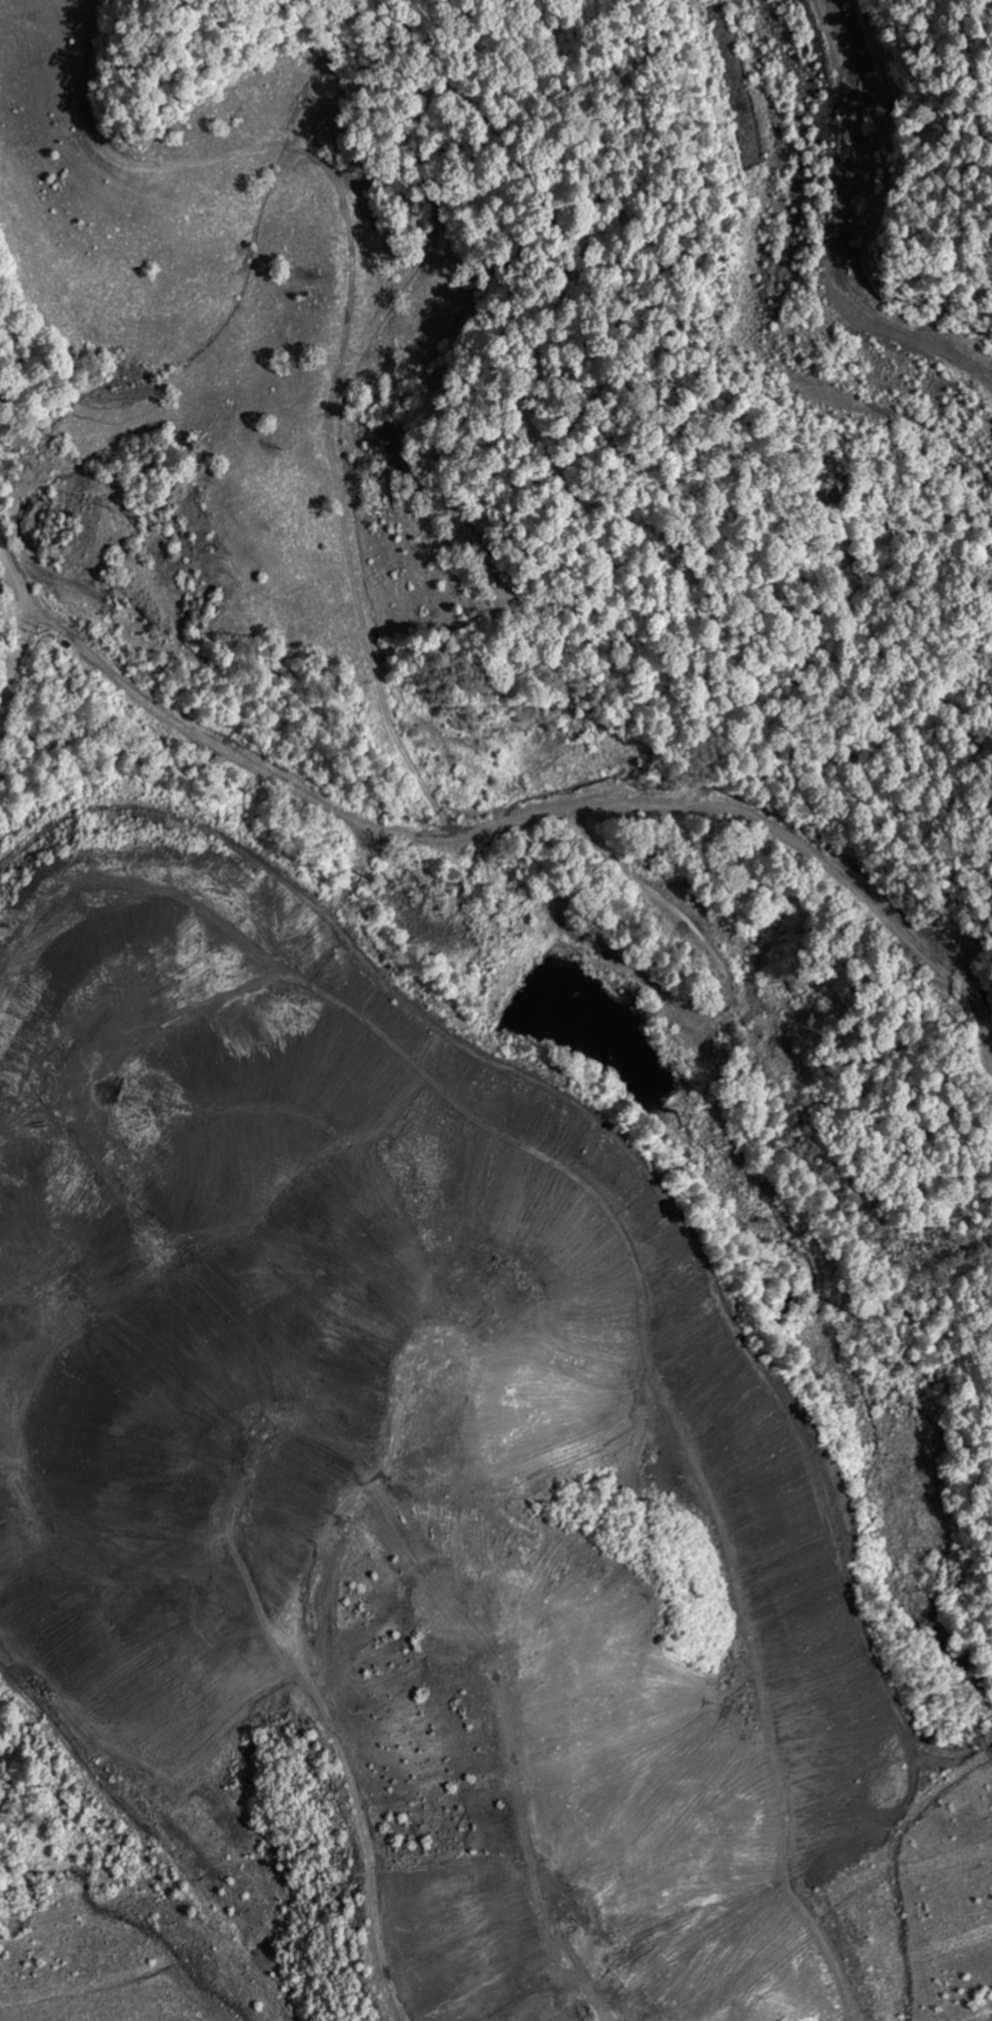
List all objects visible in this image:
road: (14, 591)
road: (17, 666)
road: (248, 759)

